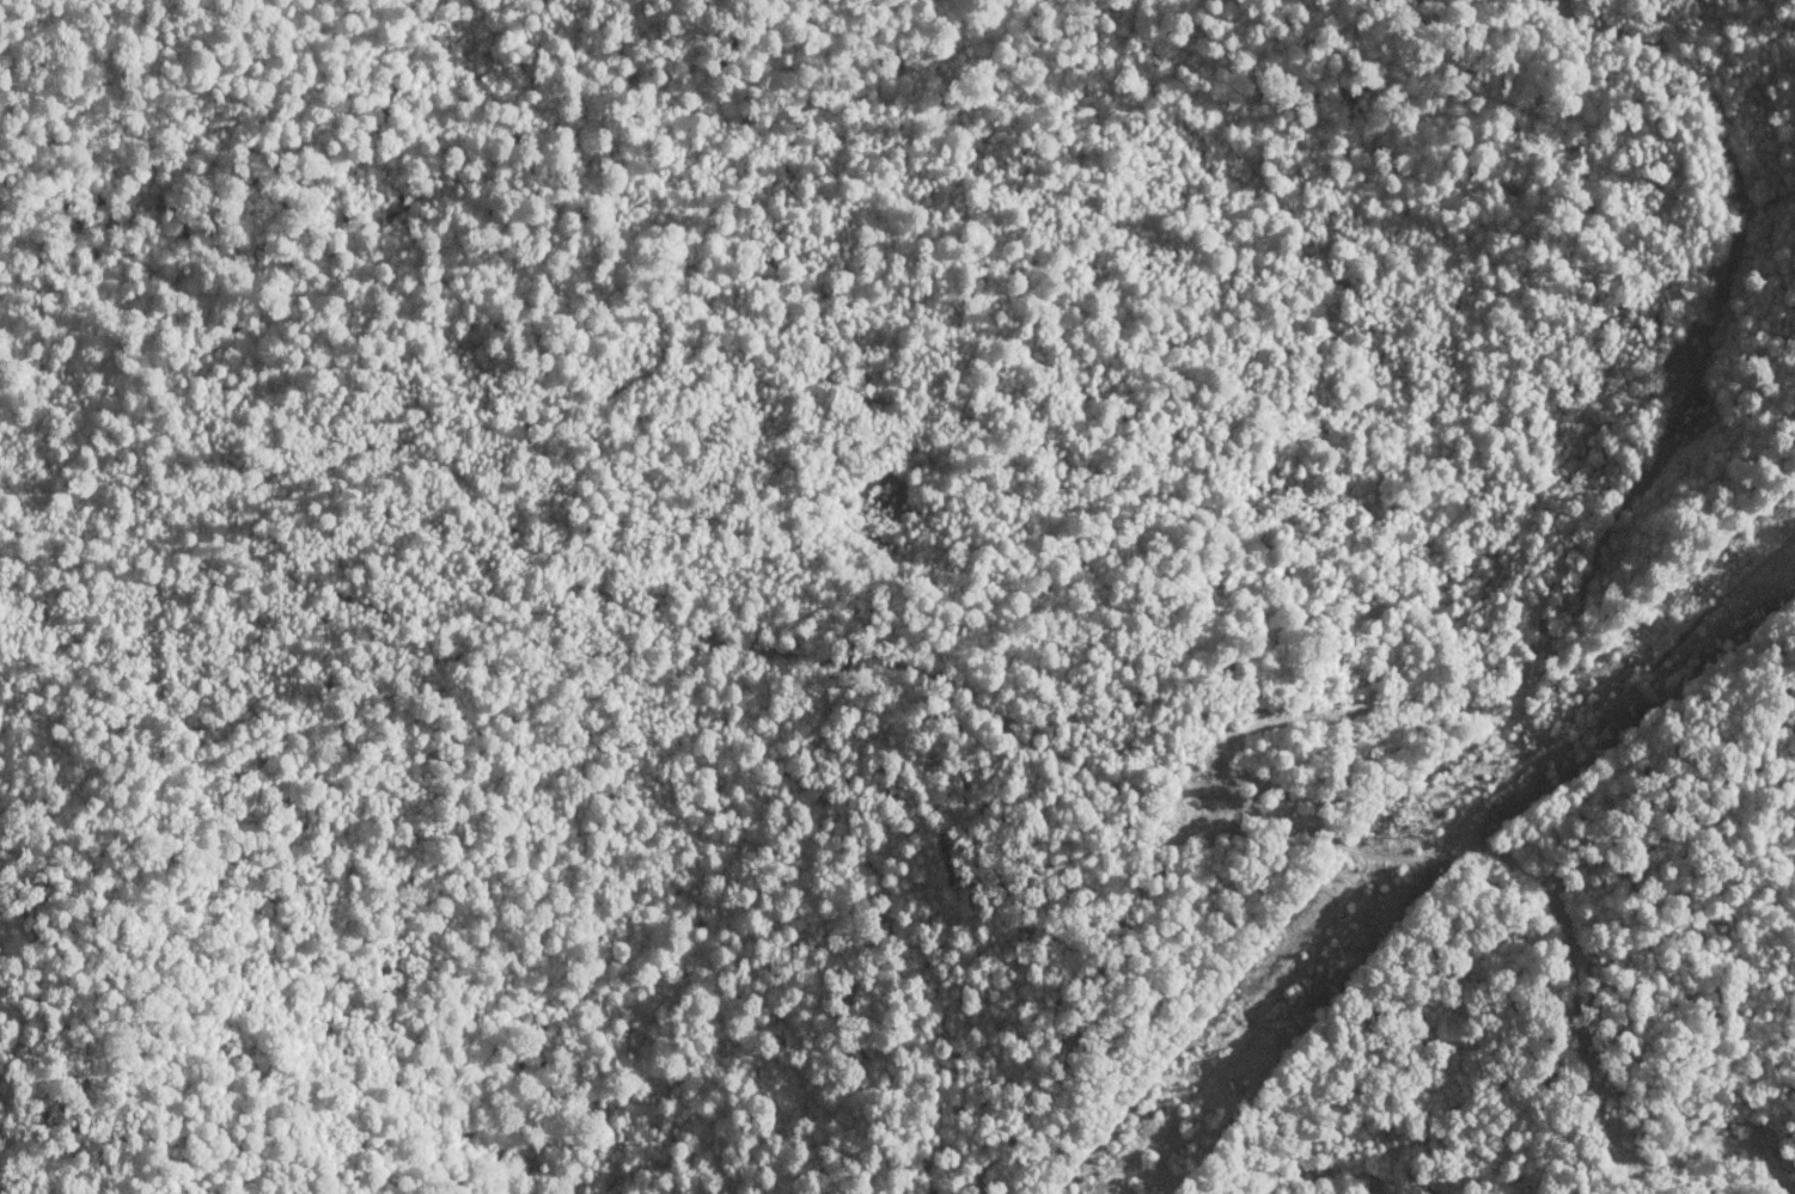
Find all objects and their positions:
power tower: (1408, 821)

